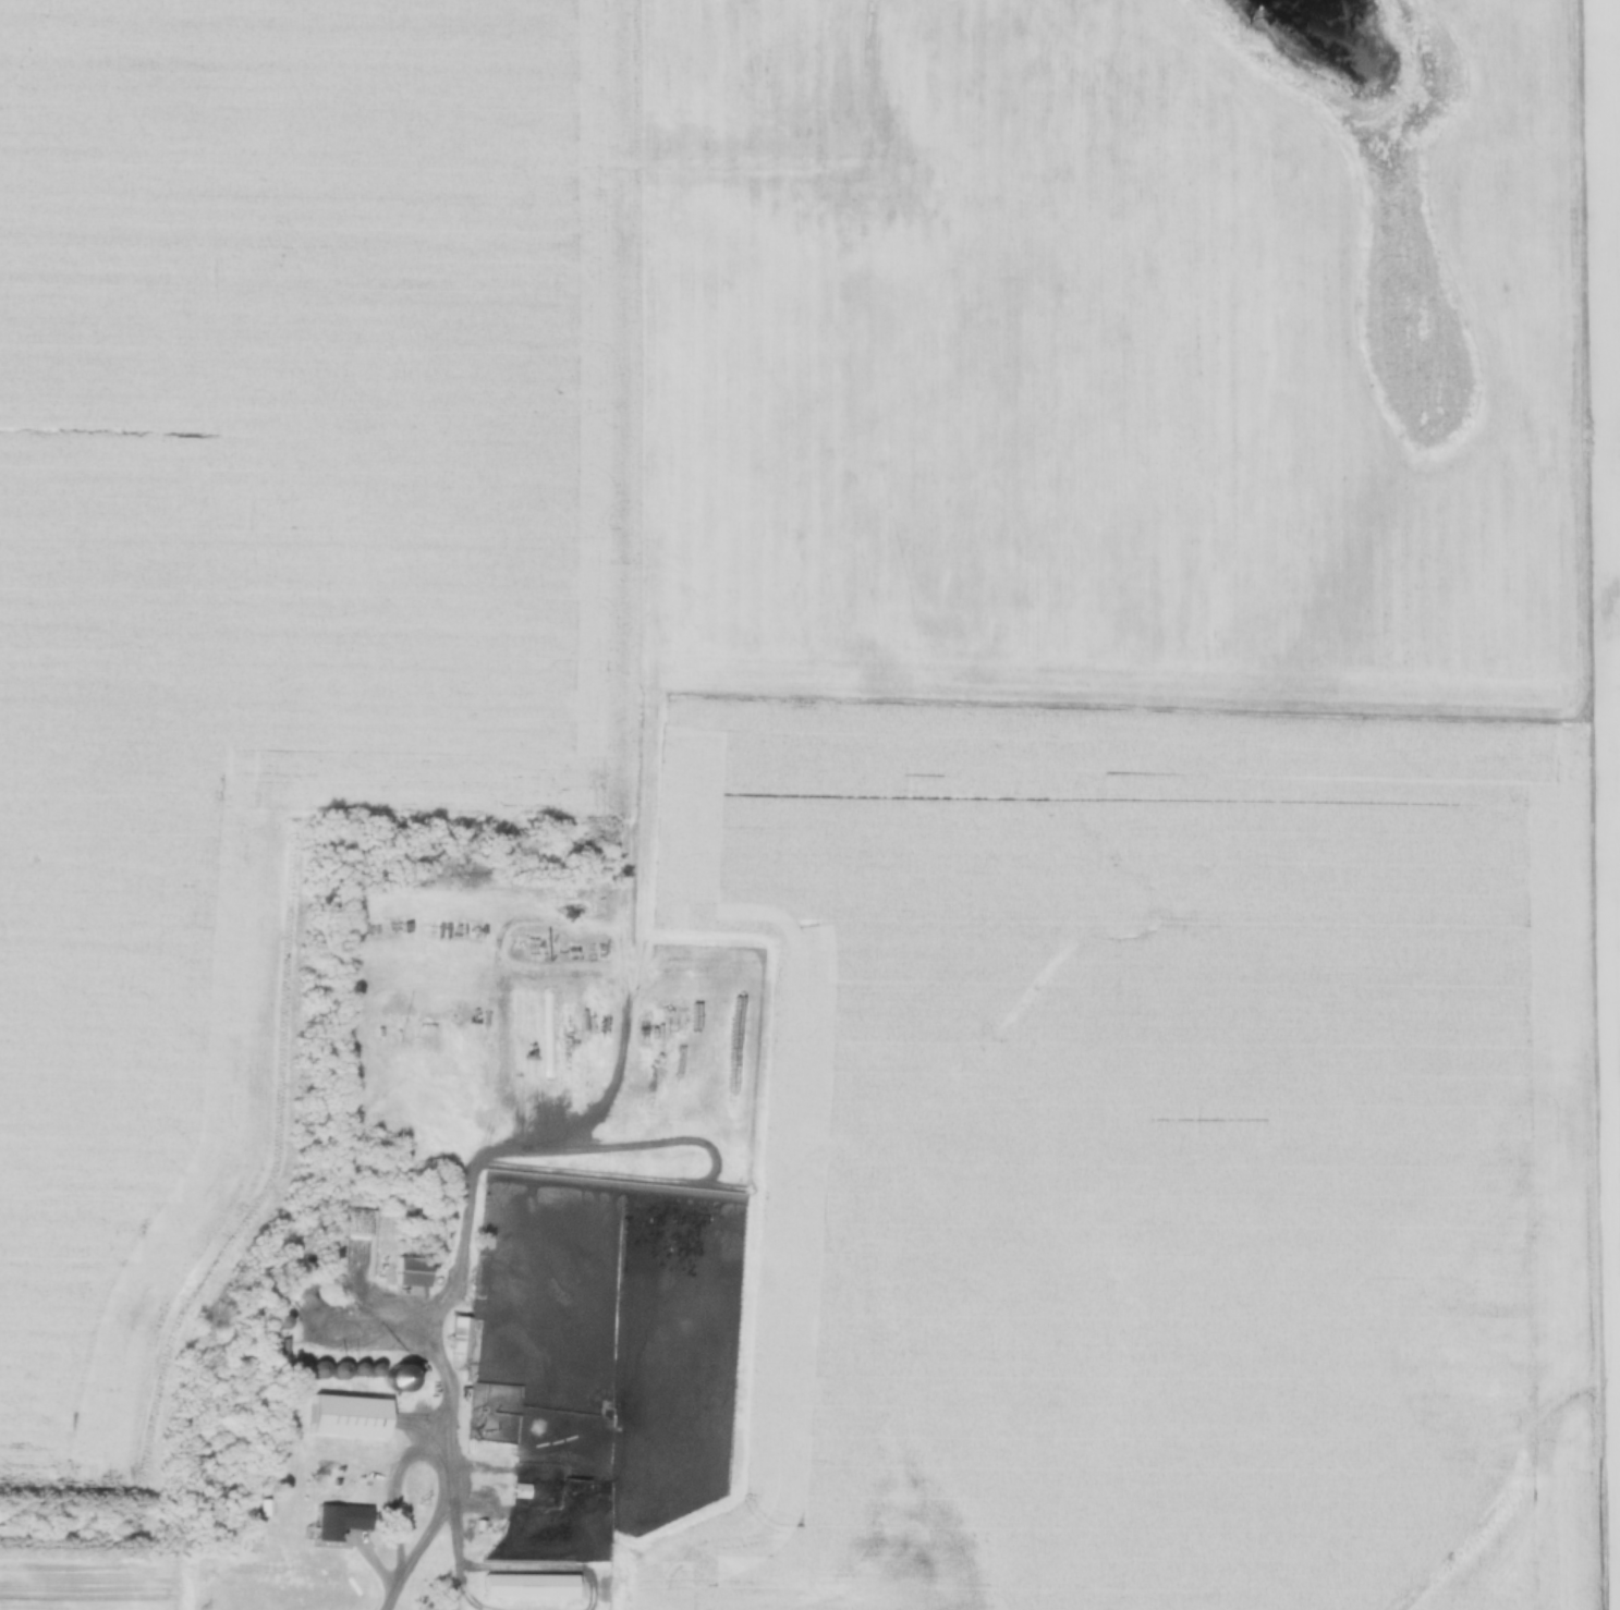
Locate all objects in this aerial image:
building: (360, 1243)
building: (413, 1272)
building: (461, 1339)
building: (299, 1370)
building: (320, 1371)
building: (341, 1373)
building: (418, 1376)
building: (350, 1418)
road: (393, 1488)
building: (521, 1493)
building: (341, 1522)
building: (529, 1587)
road: (394, 1590)

